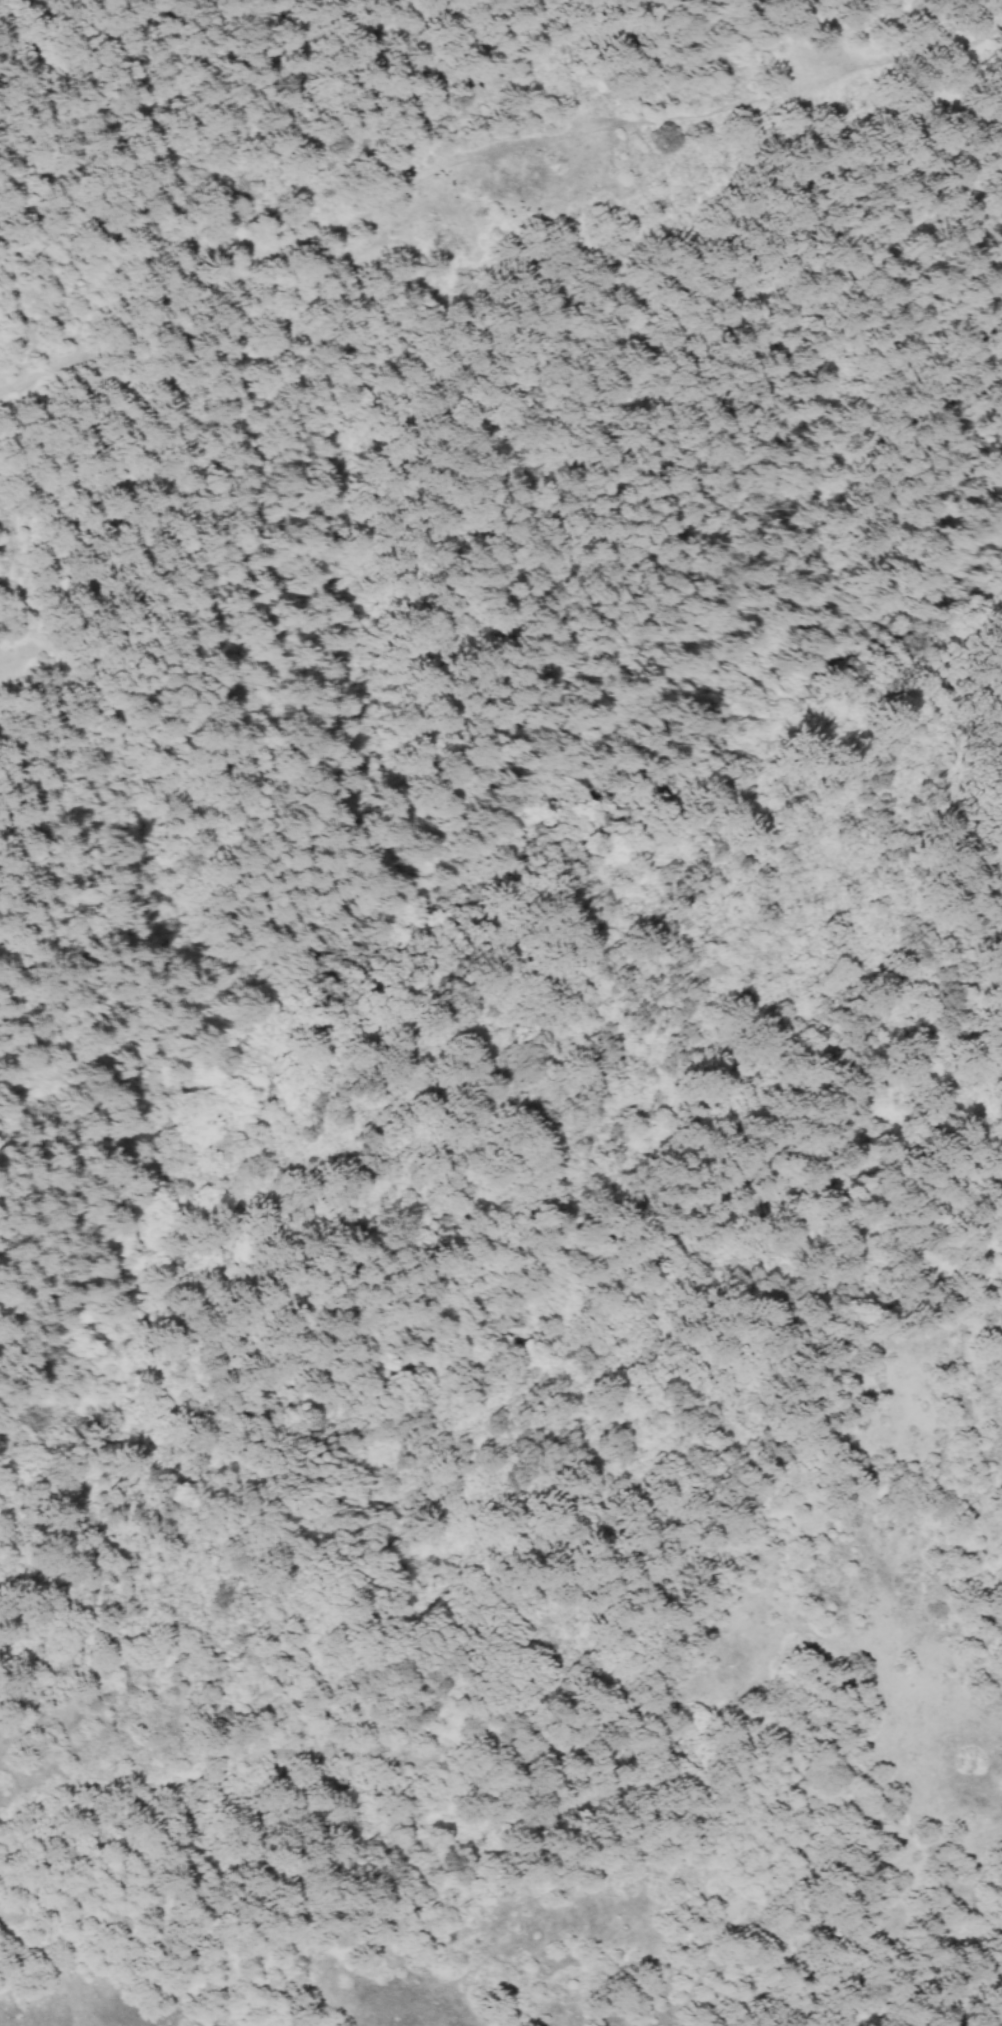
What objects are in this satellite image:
road: (452, 123)

